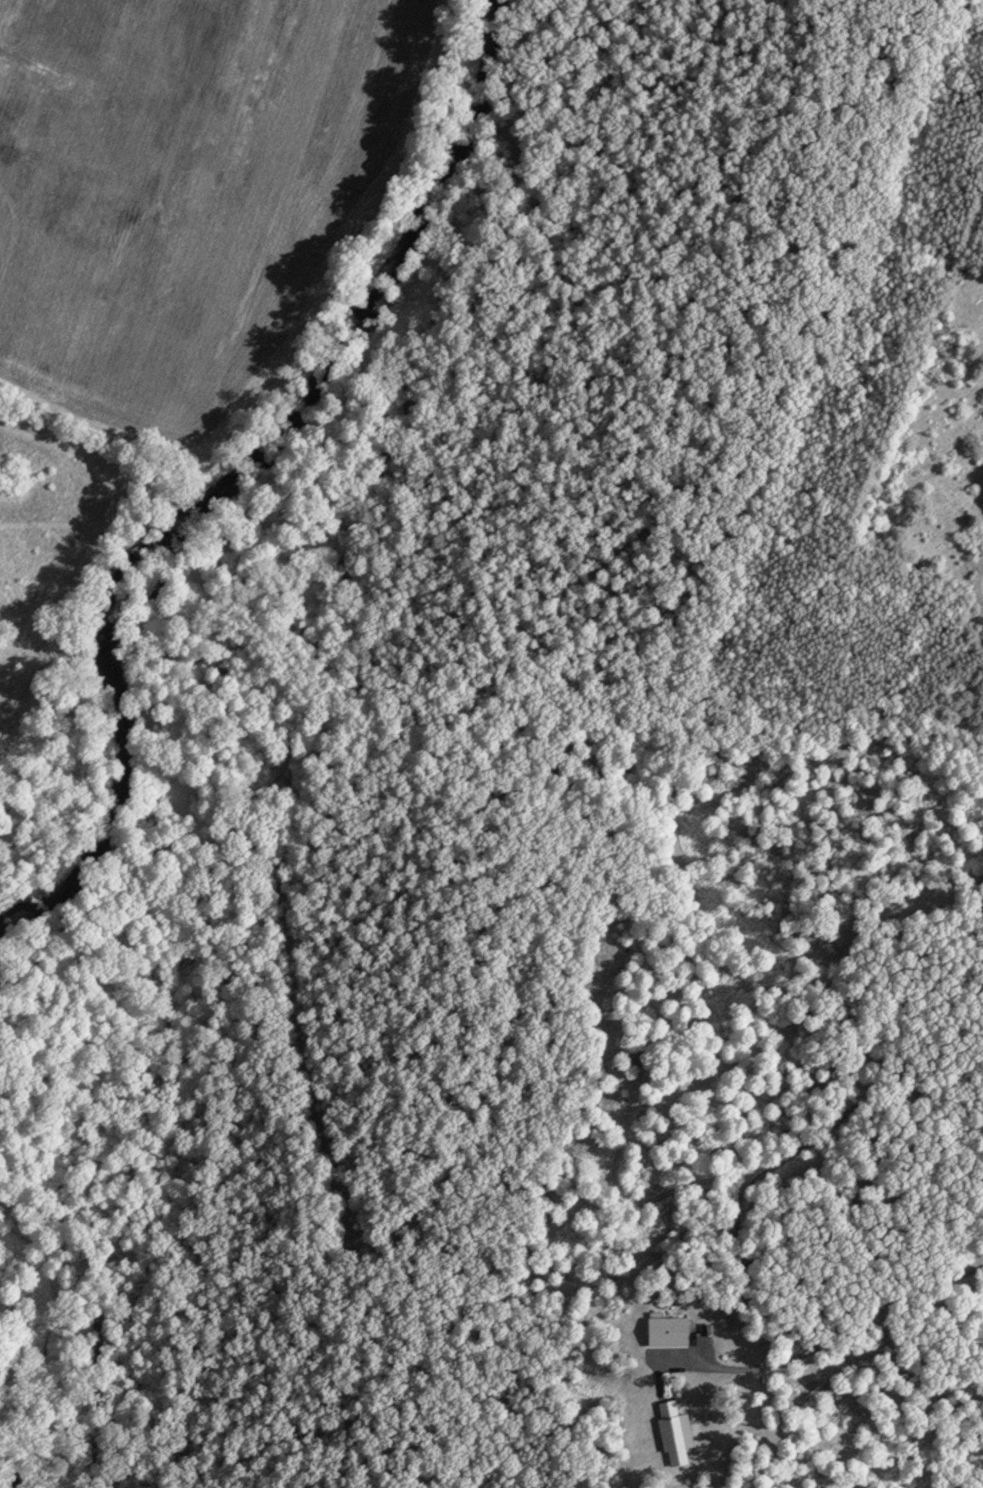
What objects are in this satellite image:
river: (236, 470)

